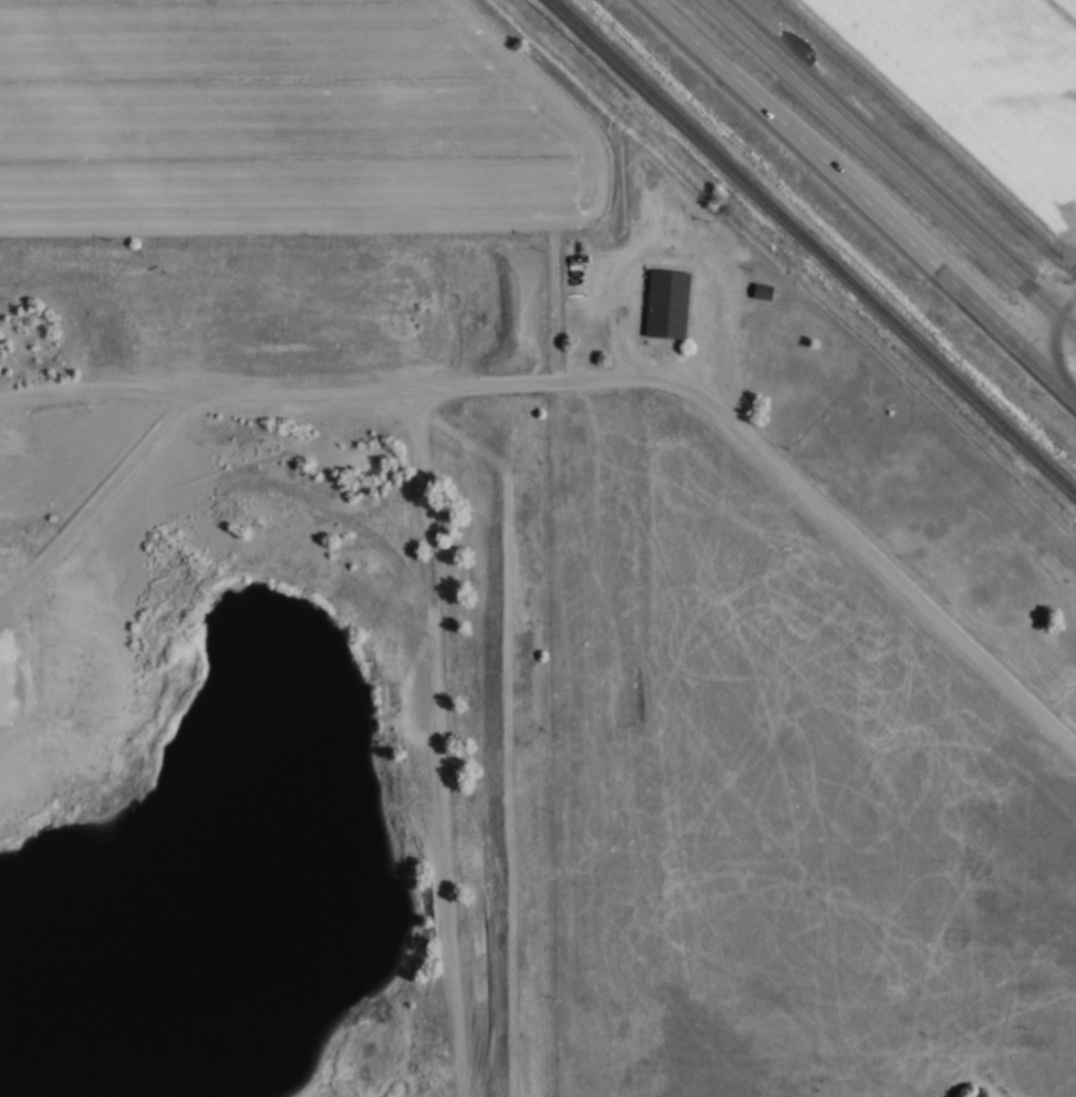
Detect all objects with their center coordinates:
road: (897, 163)
road: (861, 199)
railway: (815, 246)
building: (759, 290)
building: (664, 303)
road: (1052, 329)
road: (557, 379)
road: (433, 527)
road: (880, 566)

